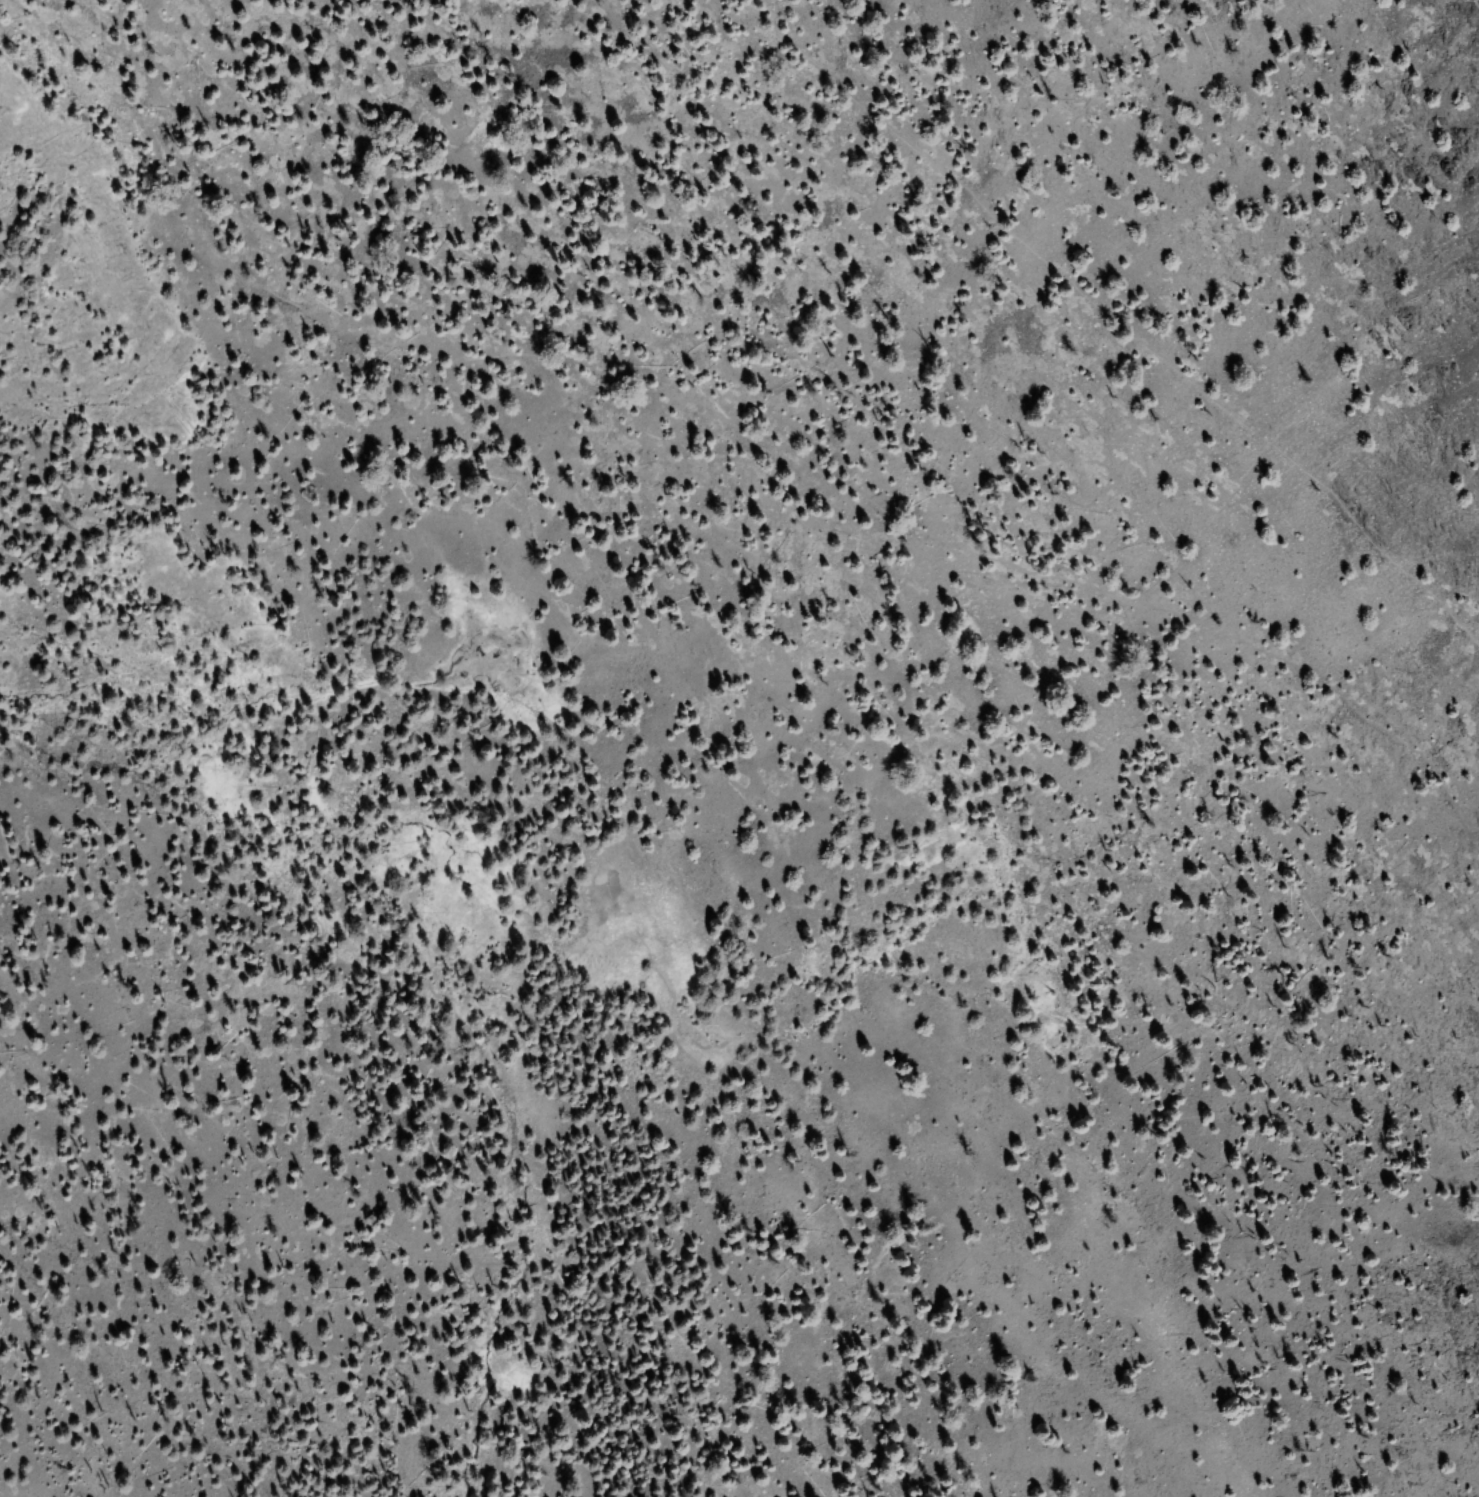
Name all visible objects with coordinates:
road: (1099, 314)
road: (742, 411)

